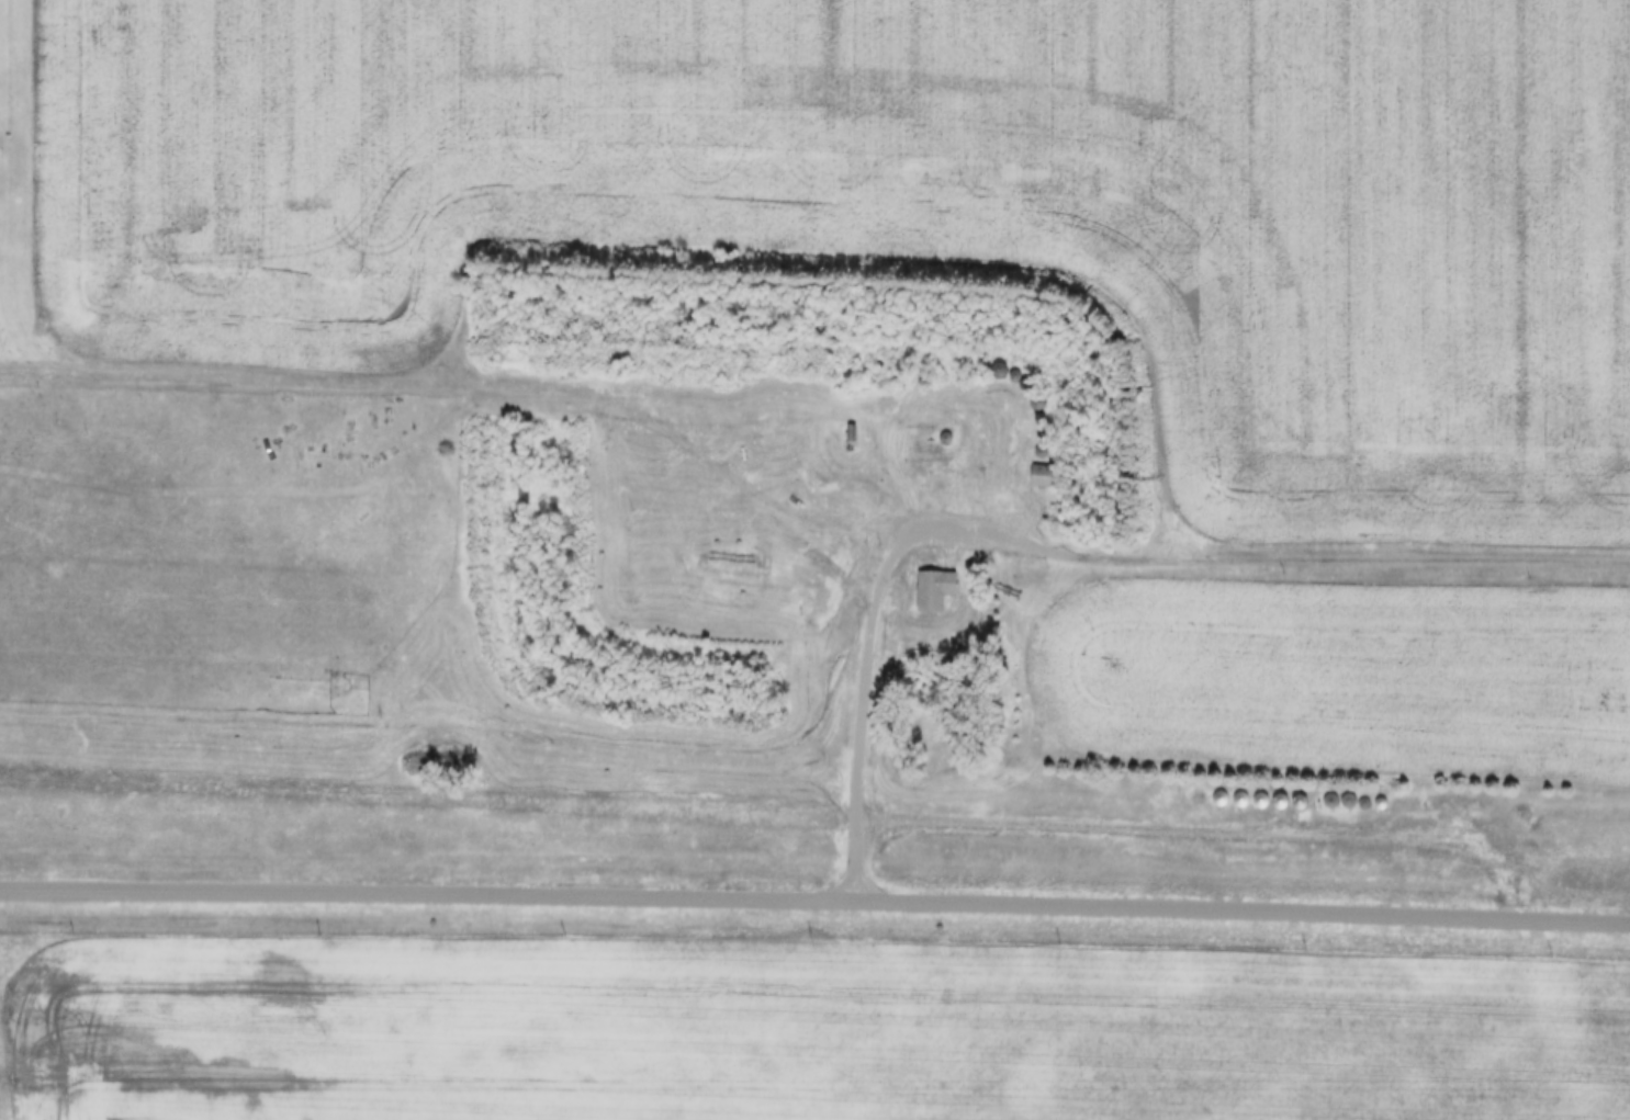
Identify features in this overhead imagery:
building: (1005, 361)
silo: (1005, 361)
building: (1022, 367)
silo: (1022, 367)
building: (1000, 374)
building: (1044, 394)
silo: (1044, 394)
building: (952, 429)
silo: (952, 429)
building: (1047, 442)
silo: (1047, 442)
building: (1045, 466)
building: (1043, 478)
road: (1362, 561)
building: (937, 581)
road: (873, 618)
building: (1230, 789)
silo: (1230, 789)
building: (1251, 790)
silo: (1251, 790)
building: (1271, 791)
silo: (1271, 791)
building: (1289, 792)
silo: (1289, 792)
building: (1338, 792)
silo: (1338, 792)
building: (1356, 792)
silo: (1356, 792)
building: (1307, 793)
silo: (1307, 793)
building: (1373, 794)
silo: (1373, 794)
building: (1449, 794)
silo: (1449, 794)
building: (1391, 795)
silo: (1391, 795)
building: (1407, 795)
silo: (1407, 795)
building: (1424, 795)
silo: (1424, 795)
building: (1464, 795)
silo: (1464, 795)
building: (1481, 796)
silo: (1481, 796)
building: (1221, 802)
road: (814, 896)

